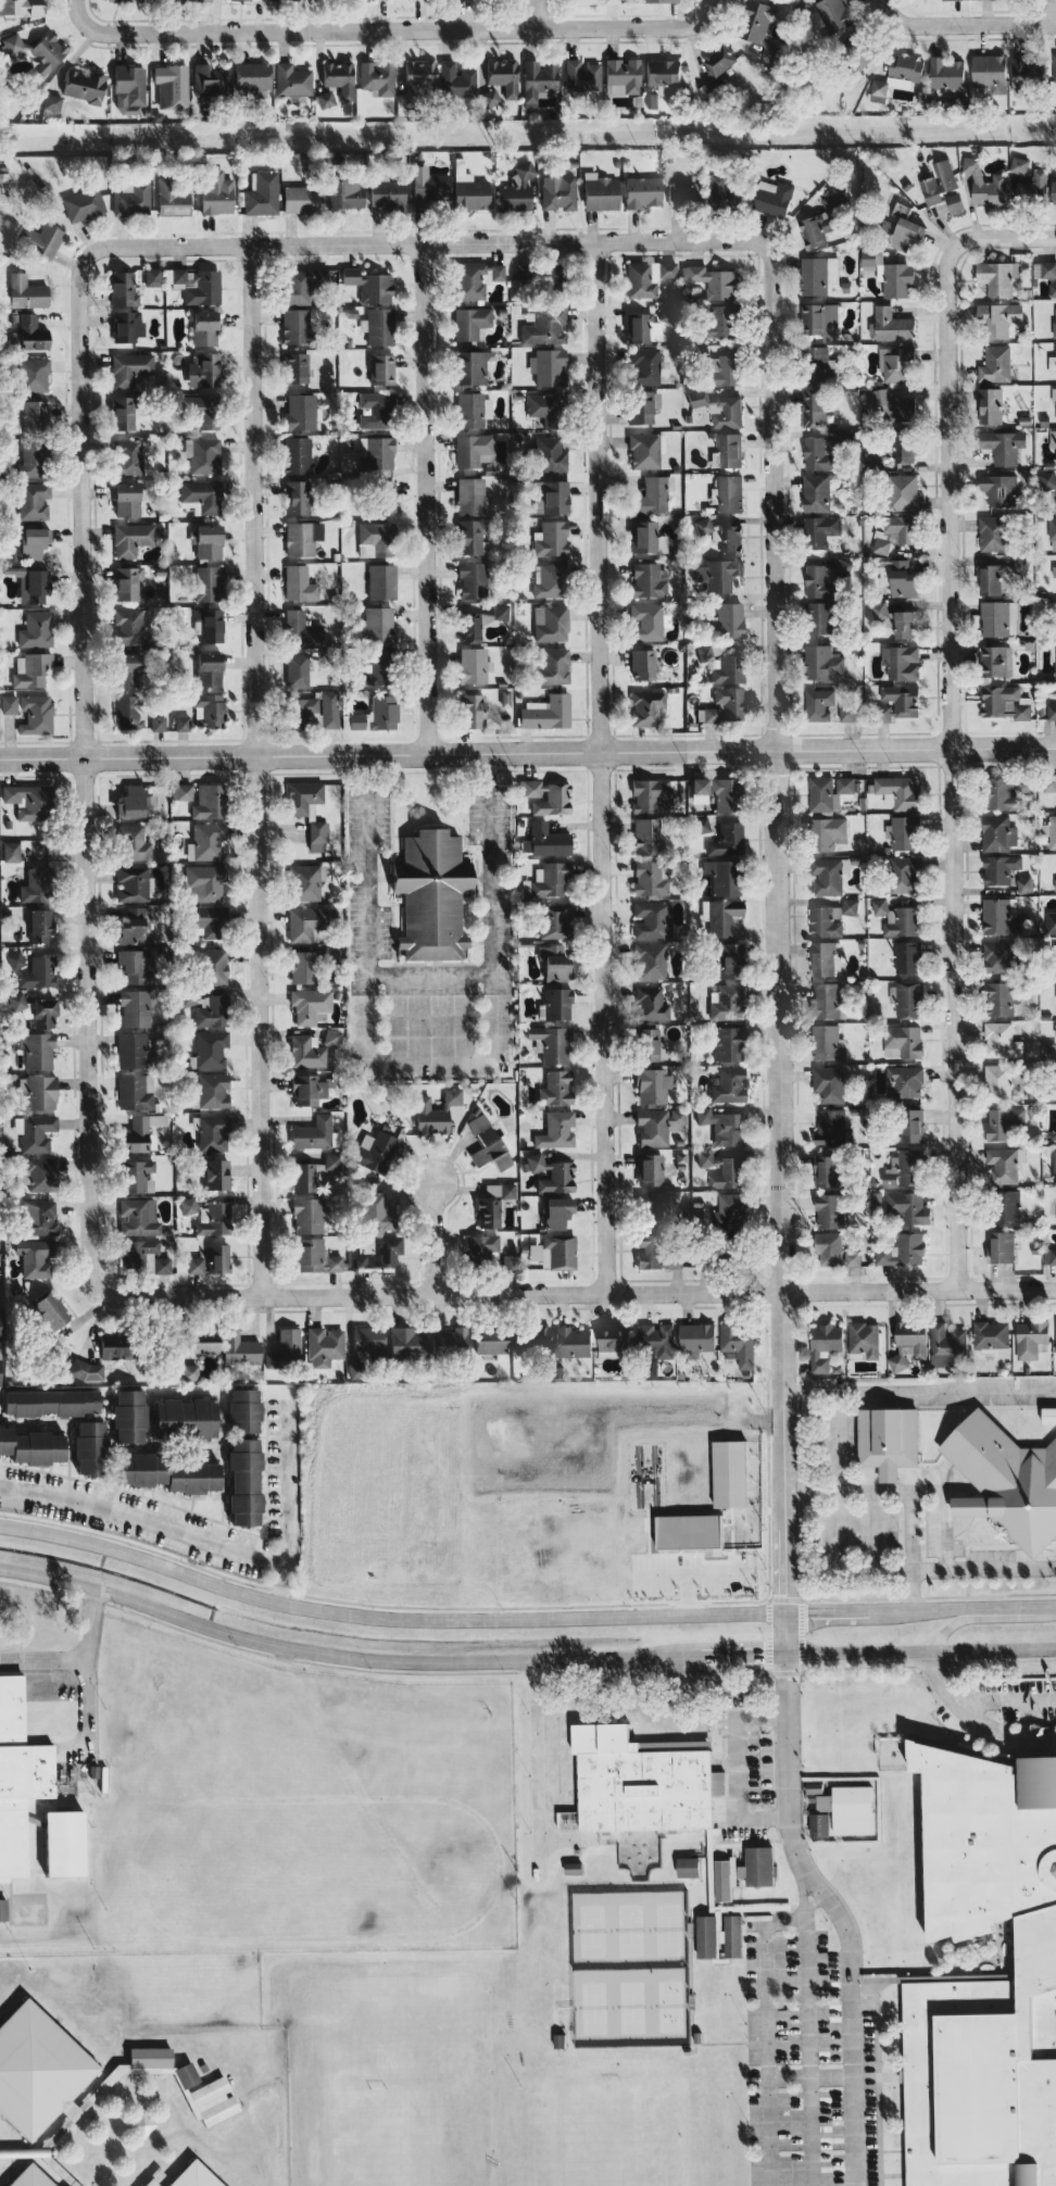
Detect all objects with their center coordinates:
building: (112, 0)
building: (196, 0)
building: (593, 1)
building: (658, 1)
building: (22, 7)
road: (878, 9)
road: (705, 10)
road: (1052, 10)
road: (78, 12)
road: (537, 14)
building: (831, 15)
road: (969, 21)
building: (759, 27)
road: (391, 28)
building: (40, 51)
building: (720, 60)
building: (906, 66)
building: (1054, 67)
building: (1028, 70)
building: (946, 73)
building: (989, 73)
building: (581, 75)
building: (621, 76)
building: (252, 77)
building: (377, 77)
building: (417, 77)
building: (503, 77)
building: (339, 78)
building: (456, 78)
building: (292, 79)
building: (210, 81)
building: (538, 81)
building: (83, 86)
building: (171, 86)
building: (129, 89)
building: (879, 90)
building: (490, 97)
building: (325, 99)
building: (651, 100)
building: (52, 102)
building: (1019, 165)
building: (939, 181)
building: (985, 184)
building: (1032, 185)
building: (429, 188)
building: (516, 189)
building: (1053, 190)
building: (469, 191)
building: (724, 191)
building: (215, 192)
building: (344, 192)
building: (558, 192)
building: (600, 192)
building: (642, 192)
building: (261, 193)
building: (388, 194)
building: (686, 194)
building: (772, 197)
building: (174, 198)
building: (131, 199)
building: (300, 199)
building: (954, 201)
building: (83, 204)
building: (822, 219)
building: (906, 229)
road: (1000, 237)
building: (45, 240)
road: (425, 242)
building: (1044, 269)
building: (524, 272)
building: (818, 274)
building: (891, 274)
building: (152, 277)
building: (646, 277)
building: (996, 277)
building: (476, 279)
building: (551, 280)
building: (714, 280)
building: (304, 284)
building: (198, 285)
building: (369, 285)
building: (123, 289)
building: (1052, 289)
building: (25, 292)
building: (666, 313)
building: (1000, 317)
building: (821, 319)
building: (1054, 319)
building: (722, 321)
building: (470, 323)
building: (891, 324)
building: (126, 326)
building: (296, 326)
building: (544, 326)
building: (638, 327)
building: (204, 328)
building: (32, 332)
building: (896, 362)
building: (815, 363)
building: (1052, 363)
building: (995, 364)
building: (644, 365)
building: (472, 366)
building: (129, 367)
building: (296, 367)
building: (548, 367)
building: (381, 368)
building: (727, 368)
building: (203, 369)
building: (34, 375)
building: (699, 398)
building: (642, 405)
building: (895, 405)
building: (990, 405)
building: (1055, 405)
building: (814, 406)
building: (545, 409)
building: (377, 410)
building: (469, 410)
building: (203, 412)
building: (301, 412)
building: (727, 412)
building: (123, 413)
building: (35, 414)
building: (1003, 444)
building: (904, 445)
building: (1055, 445)
building: (472, 449)
building: (645, 450)
building: (728, 450)
building: (376, 453)
building: (819, 453)
building: (551, 454)
building: (297, 455)
building: (127, 456)
building: (206, 456)
building: (30, 460)
building: (1000, 489)
building: (903, 491)
building: (729, 492)
building: (816, 492)
building: (203, 494)
building: (469, 495)
building: (652, 495)
building: (297, 497)
building: (384, 497)
building: (550, 497)
road: (424, 498)
building: (34, 500)
building: (127, 500)
building: (702, 525)
building: (821, 530)
building: (894, 532)
building: (992, 532)
building: (1053, 533)
building: (377, 537)
building: (470, 537)
building: (645, 537)
building: (133, 538)
building: (302, 538)
building: (551, 539)
building: (730, 539)
building: (206, 541)
building: (30, 543)
building: (1021, 566)
building: (1053, 570)
building: (718, 574)
building: (825, 577)
building: (898, 577)
building: (993, 578)
building: (473, 580)
building: (550, 580)
building: (649, 580)
building: (379, 581)
building: (209, 582)
building: (126, 583)
building: (299, 583)
building: (35, 587)
building: (500, 611)
building: (820, 617)
building: (998, 618)
building: (896, 619)
building: (728, 620)
building: (550, 623)
building: (209, 625)
building: (379, 625)
building: (128, 627)
building: (469, 627)
building: (36, 629)
building: (301, 629)
building: (704, 653)
building: (1055, 657)
building: (901, 662)
building: (824, 663)
building: (642, 664)
building: (472, 665)
building: (552, 667)
building: (379, 668)
building: (30, 669)
building: (127, 669)
building: (209, 669)
building: (728, 669)
building: (297, 670)
building: (898, 701)
building: (1005, 702)
building: (729, 703)
building: (818, 703)
building: (9, 704)
building: (648, 707)
building: (329, 708)
building: (209, 709)
building: (302, 711)
building: (473, 711)
building: (1051, 711)
building: (127, 712)
building: (546, 712)
building: (851, 712)
building: (36, 714)
building: (377, 715)
building: (707, 715)
building: (158, 723)
building: (181, 723)
road: (528, 752)
road: (601, 767)
road: (951, 769)
road: (254, 770)
road: (84, 774)
building: (845, 783)
building: (1048, 784)
building: (699, 790)
building: (897, 791)
building: (181, 792)
building: (725, 793)
building: (1000, 793)
building: (822, 794)
building: (652, 795)
building: (546, 796)
building: (134, 801)
building: (29, 802)
building: (209, 802)
building: (309, 811)
building: (701, 825)
building: (826, 831)
building: (1052, 831)
building: (904, 832)
building: (997, 832)
building: (646, 836)
building: (208, 840)
building: (544, 840)
building: (727, 840)
building: (133, 843)
building: (11, 852)
building: (1000, 867)
building: (904, 872)
building: (722, 876)
building: (827, 876)
building: (550, 879)
building: (649, 879)
building: (306, 881)
building: (206, 882)
building: (133, 883)
building: (35, 885)
building: (431, 893)
building: (850, 905)
building: (722, 916)
building: (1001, 916)
building: (897, 918)
building: (652, 919)
building: (209, 920)
building: (554, 920)
building: (305, 922)
building: (824, 922)
building: (1049, 922)
building: (40, 926)
building: (133, 926)
road: (777, 927)
building: (330, 955)
building: (908, 956)
building: (998, 956)
building: (825, 957)
building: (14, 959)
building: (650, 960)
building: (553, 962)
building: (727, 962)
building: (136, 966)
building: (213, 967)
building: (302, 967)
building: (38, 972)
road: (430, 978)
building: (1055, 991)
building: (907, 998)
building: (1000, 998)
building: (826, 1000)
building: (727, 1002)
building: (557, 1003)
building: (650, 1003)
building: (309, 1004)
building: (135, 1008)
building: (35, 1010)
building: (212, 1012)
road: (429, 1015)
building: (330, 1038)
building: (1001, 1039)
building: (903, 1041)
building: (828, 1042)
building: (550, 1043)
building: (728, 1043)
building: (651, 1045)
building: (210, 1048)
building: (37, 1050)
building: (131, 1050)
building: (305, 1052)
road: (430, 1059)
building: (997, 1080)
building: (904, 1081)
building: (829, 1083)
building: (728, 1084)
building: (653, 1085)
building: (557, 1088)
building: (309, 1089)
building: (135, 1091)
building: (210, 1091)
building: (40, 1092)
building: (435, 1113)
building: (1003, 1121)
building: (658, 1125)
building: (912, 1125)
building: (722, 1126)
building: (556, 1130)
building: (139, 1133)
building: (213, 1133)
building: (315, 1133)
building: (487, 1144)
building: (375, 1151)
building: (704, 1157)
building: (331, 1161)
building: (1003, 1164)
building: (1054, 1165)
building: (904, 1168)
building: (649, 1169)
building: (827, 1170)
building: (730, 1172)
building: (39, 1173)
building: (551, 1173)
building: (215, 1174)
building: (137, 1176)
building: (302, 1177)
building: (500, 1190)
building: (907, 1206)
building: (1006, 1207)
building: (374, 1210)
building: (652, 1210)
building: (730, 1210)
building: (828, 1210)
building: (557, 1213)
building: (488, 1214)
building: (307, 1215)
building: (138, 1216)
building: (39, 1217)
building: (213, 1219)
road: (432, 1236)
building: (1002, 1246)
building: (480, 1247)
building: (829, 1248)
building: (903, 1249)
building: (558, 1251)
building: (138, 1253)
building: (654, 1253)
building: (380, 1255)
building: (315, 1256)
building: (1049, 1256)
building: (36, 1257)
building: (218, 1258)
building: (852, 1258)
building: (508, 1261)
building: (162, 1265)
building: (194, 1265)
road: (578, 1293)
building: (51, 1310)
building: (696, 1335)
building: (990, 1335)
building: (531, 1336)
building: (736, 1336)
building: (615, 1337)
building: (368, 1339)
building: (865, 1339)
building: (1031, 1339)
building: (657, 1340)
building: (449, 1341)
building: (490, 1341)
building: (407, 1342)
building: (573, 1342)
building: (203, 1343)
building: (908, 1343)
building: (115, 1344)
building: (825, 1344)
building: (947, 1345)
building: (324, 1346)
building: (240, 1348)
building: (285, 1348)
building: (355, 1369)
building: (87, 1370)
building: (190, 1371)
road: (917, 1397)
building: (51, 1402)
building: (243, 1410)
building: (1048, 1415)
building: (129, 1416)
building: (185, 1419)
building: (888, 1440)
building: (32, 1446)
building: (90, 1447)
building: (169, 1473)
building: (730, 1473)
road: (837, 1479)
road: (906, 1479)
building: (1005, 1480)
building: (244, 1482)
road: (902, 1491)
road: (289, 1503)
road: (961, 1507)
road: (146, 1520)
building: (691, 1532)
road: (946, 1567)
road: (691, 1575)
road: (686, 1595)
road: (976, 1606)
road: (840, 1610)
road: (1032, 1610)
road: (386, 1616)
road: (963, 1619)
road: (784, 1633)
road: (995, 1649)
road: (859, 1653)
road: (334, 1655)
road: (733, 1656)
road: (41, 1659)
road: (84, 1679)
road: (1003, 1698)
road: (976, 1720)
road: (535, 1742)
road: (734, 1768)
building: (18, 1776)
building: (642, 1781)
building: (814, 1786)
building: (848, 1808)
building: (819, 1823)
building: (64, 1843)
building: (757, 1864)
building: (688, 1865)
building: (573, 1867)
building: (724, 1877)
road: (807, 1897)
building: (3, 1909)
road: (838, 1913)
road: (783, 1920)
park: (591, 1929)
park: (667, 1929)
park: (629, 1930)
building: (706, 1935)
building: (731, 1935)
building: (985, 1981)
park: (669, 2005)
park: (631, 2006)
park: (592, 2007)
road: (806, 2047)
road: (765, 2053)
building: (150, 2057)
building: (37, 2069)
building: (186, 2074)
road: (807, 2074)
building: (65, 2123)
building: (193, 2176)
building: (29, 2177)
building: (153, 2178)

